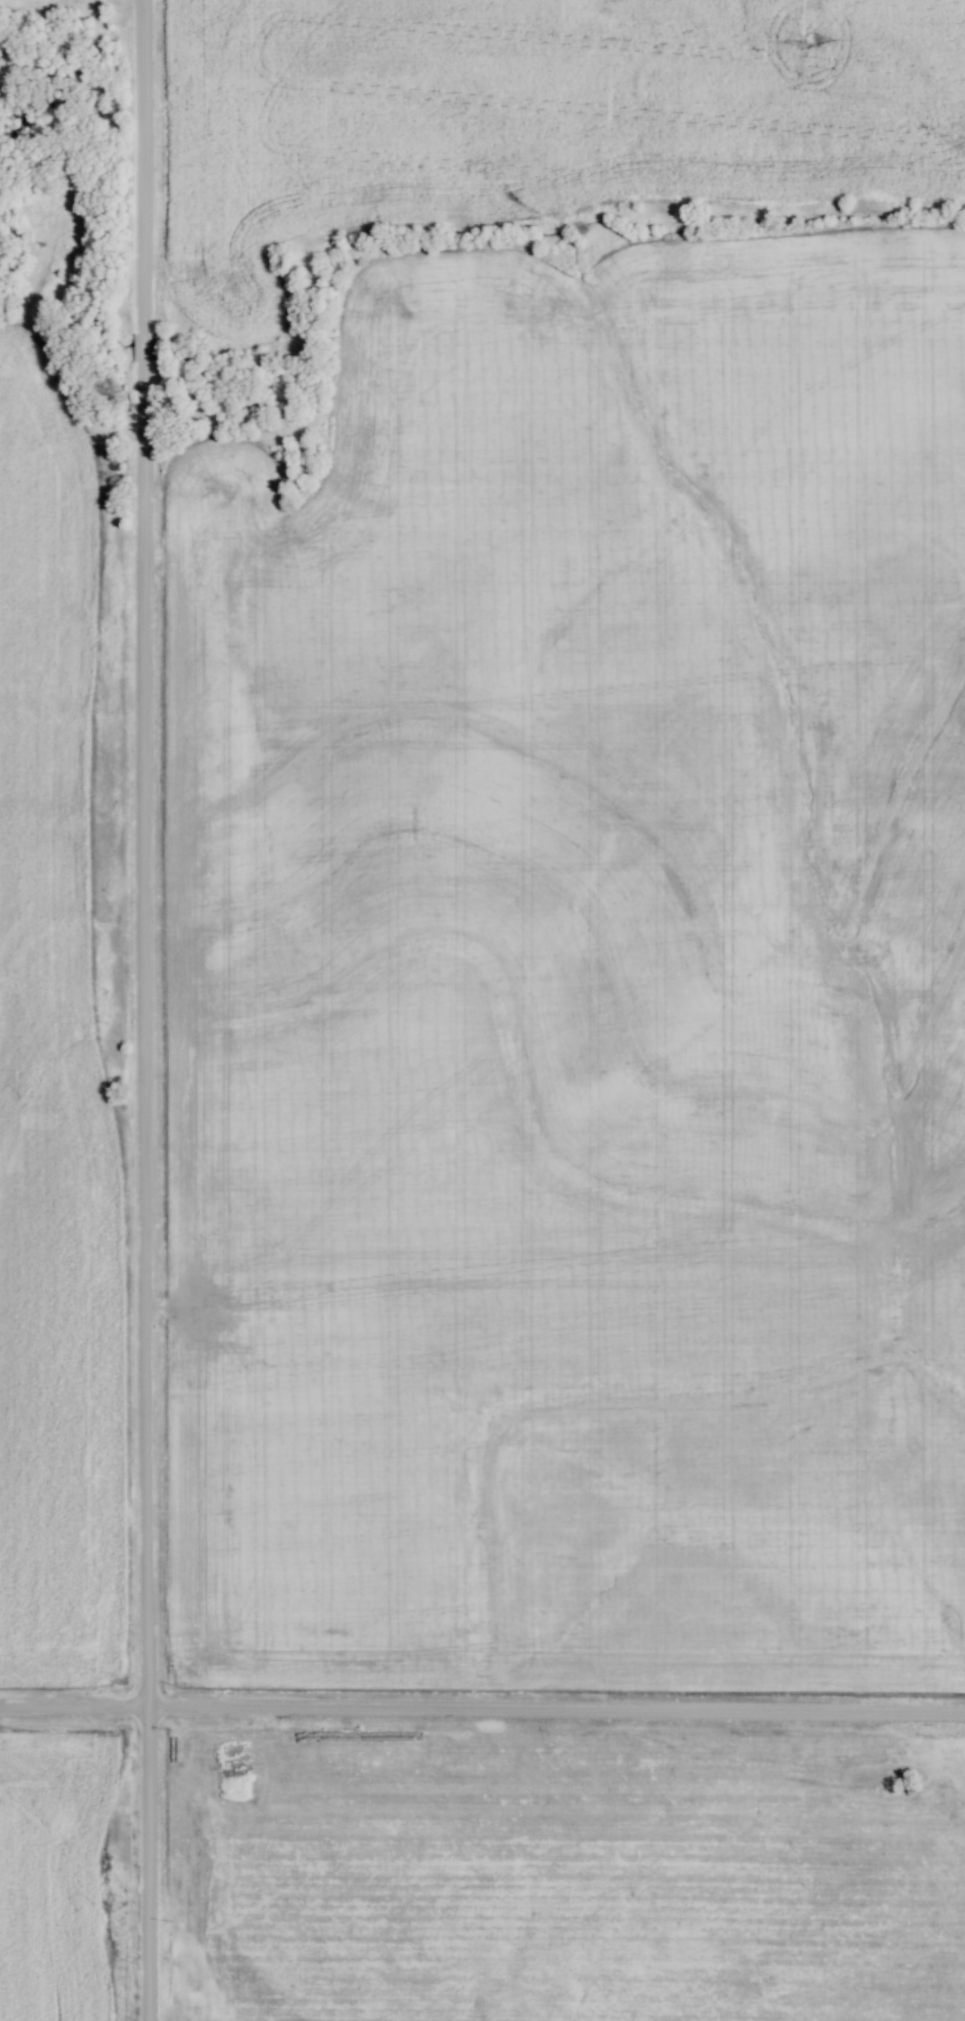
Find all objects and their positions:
road: (137, 1010)
road: (482, 1710)

